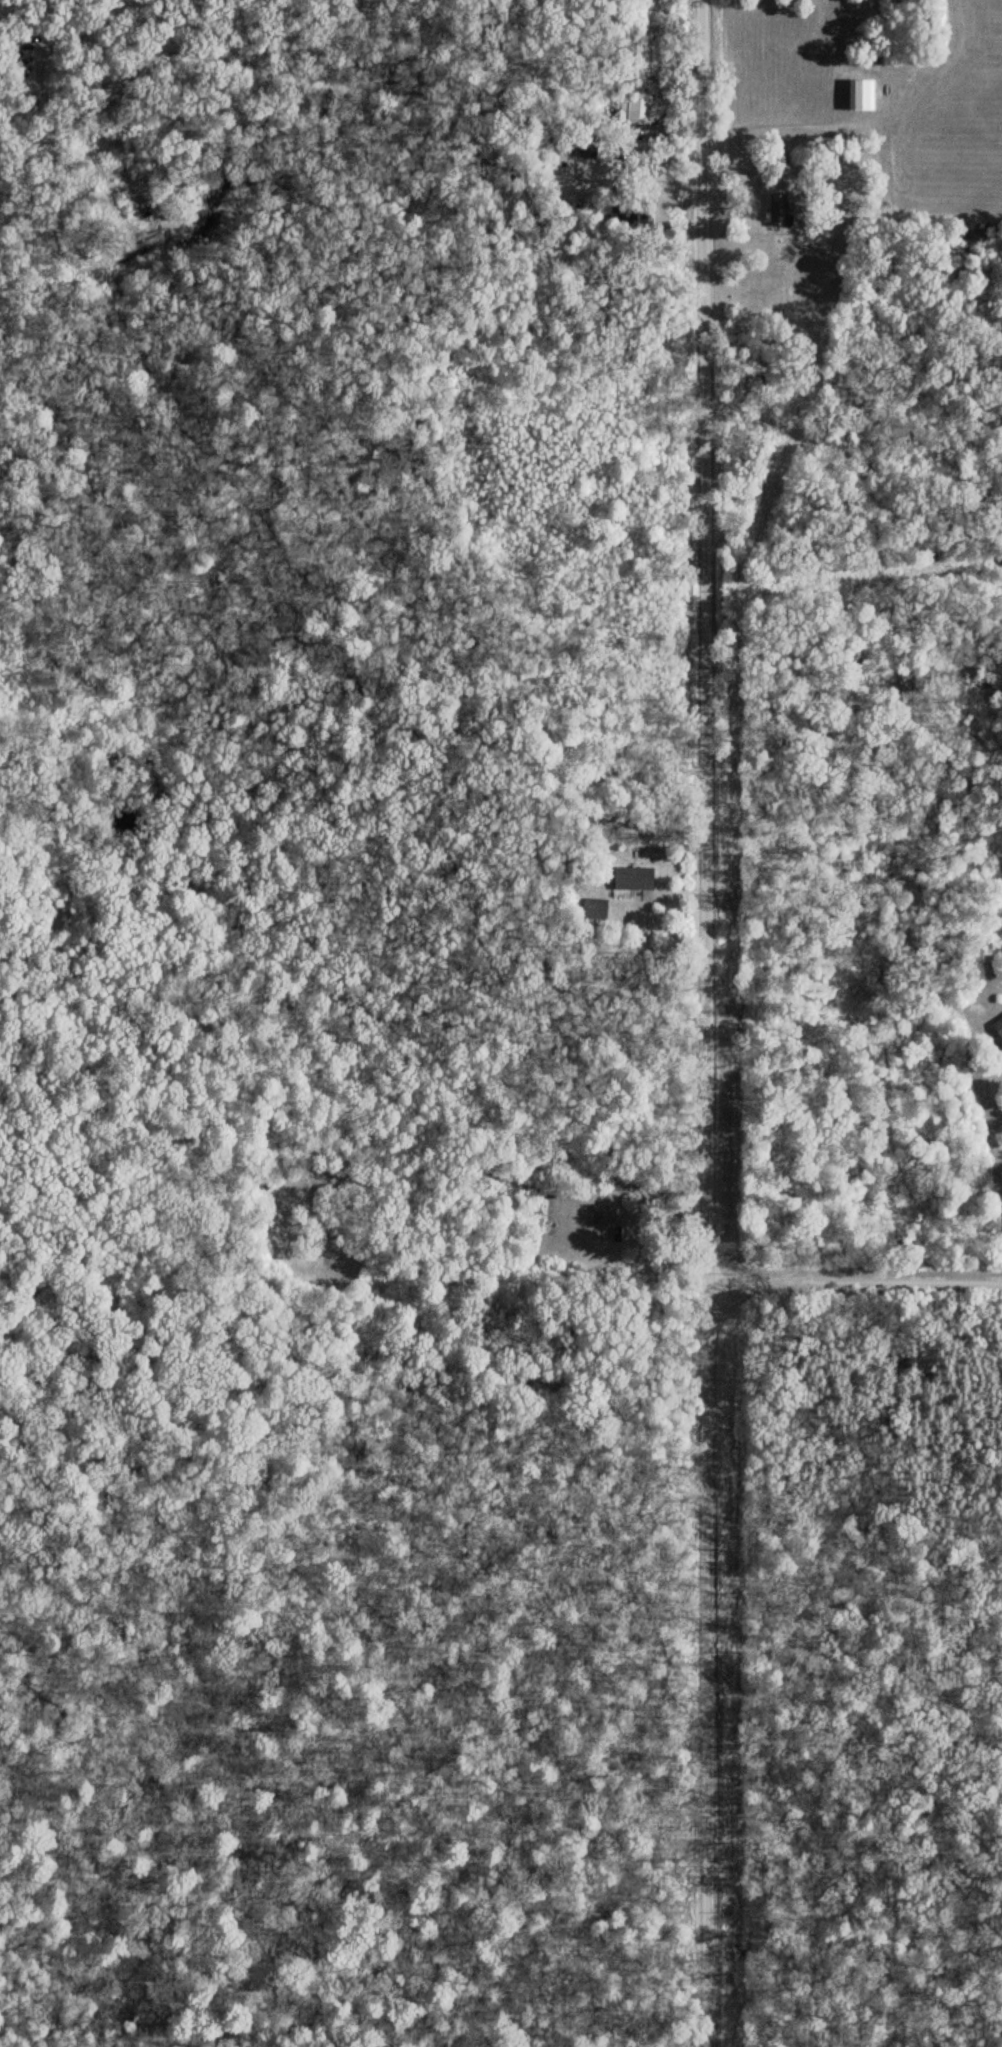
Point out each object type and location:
building: (636, 112)
building: (778, 210)
road: (699, 1023)
building: (997, 1028)
building: (600, 1217)
building: (628, 1234)
road: (852, 1262)

